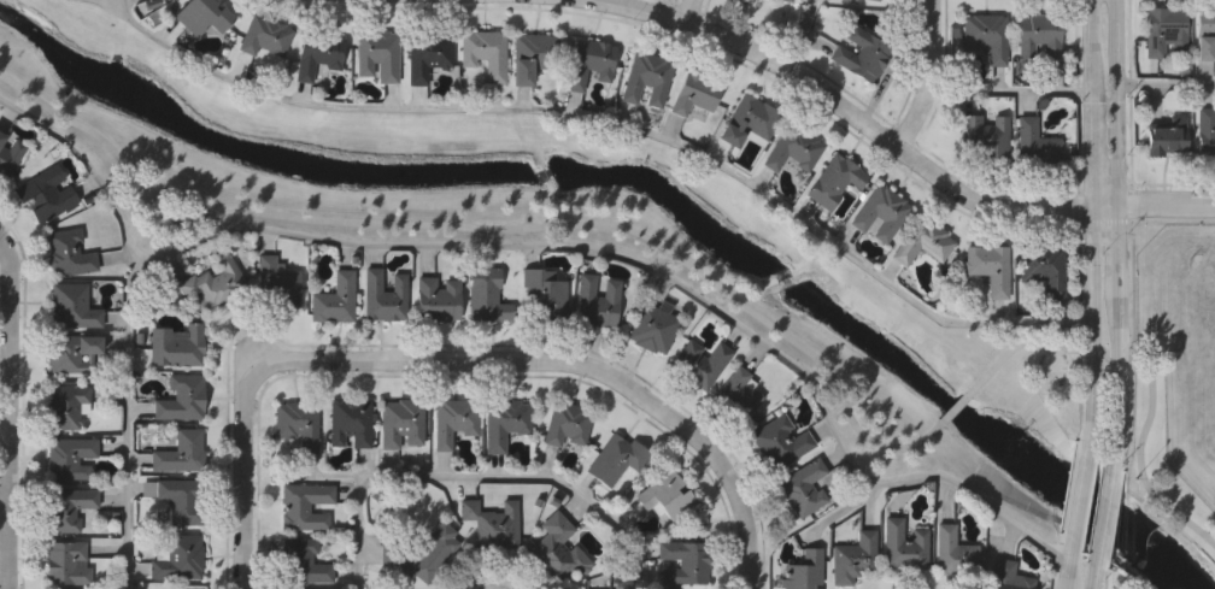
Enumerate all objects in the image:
building: (787, 0)
building: (873, 0)
building: (851, 1)
road: (123, 7)
road: (688, 11)
building: (204, 16)
building: (1166, 30)
building: (266, 34)
road: (802, 35)
building: (986, 35)
building: (1039, 36)
building: (1204, 37)
building: (485, 51)
building: (317, 53)
building: (862, 53)
building: (377, 54)
building: (532, 54)
building: (427, 55)
building: (593, 61)
building: (647, 77)
road: (934, 77)
road: (1166, 86)
road: (1010, 90)
building: (695, 92)
building: (747, 118)
road: (611, 124)
building: (1207, 131)
building: (986, 134)
building: (1168, 134)
road: (897, 145)
building: (1037, 145)
building: (797, 151)
building: (10, 154)
building: (832, 181)
building: (45, 193)
building: (880, 212)
road: (1093, 228)
road: (489, 229)
road: (1117, 230)
building: (922, 243)
road: (554, 248)
building: (69, 252)
building: (1043, 266)
building: (988, 267)
building: (215, 281)
building: (277, 282)
building: (544, 291)
building: (486, 295)
building: (383, 296)
building: (334, 299)
building: (436, 300)
building: (595, 301)
building: (72, 306)
building: (655, 326)
building: (176, 346)
building: (71, 354)
road: (459, 360)
building: (702, 363)
road: (1151, 370)
building: (734, 394)
building: (182, 396)
building: (65, 406)
road: (958, 408)
road: (8, 412)
road: (130, 417)
building: (351, 420)
building: (456, 420)
building: (299, 422)
building: (401, 422)
building: (505, 423)
building: (567, 423)
building: (779, 441)
building: (182, 450)
building: (617, 457)
building: (70, 458)
road: (474, 478)
building: (800, 487)
building: (665, 496)
building: (176, 497)
road: (1080, 500)
road: (1104, 505)
building: (304, 506)
building: (70, 507)
building: (491, 524)
building: (903, 546)
building: (558, 547)
building: (421, 553)
building: (952, 553)
building: (177, 558)
building: (851, 558)
building: (304, 560)
building: (67, 561)
building: (686, 561)
road: (1069, 567)
road: (1093, 569)
building: (802, 571)
building: (1006, 576)
building: (186, 588)

